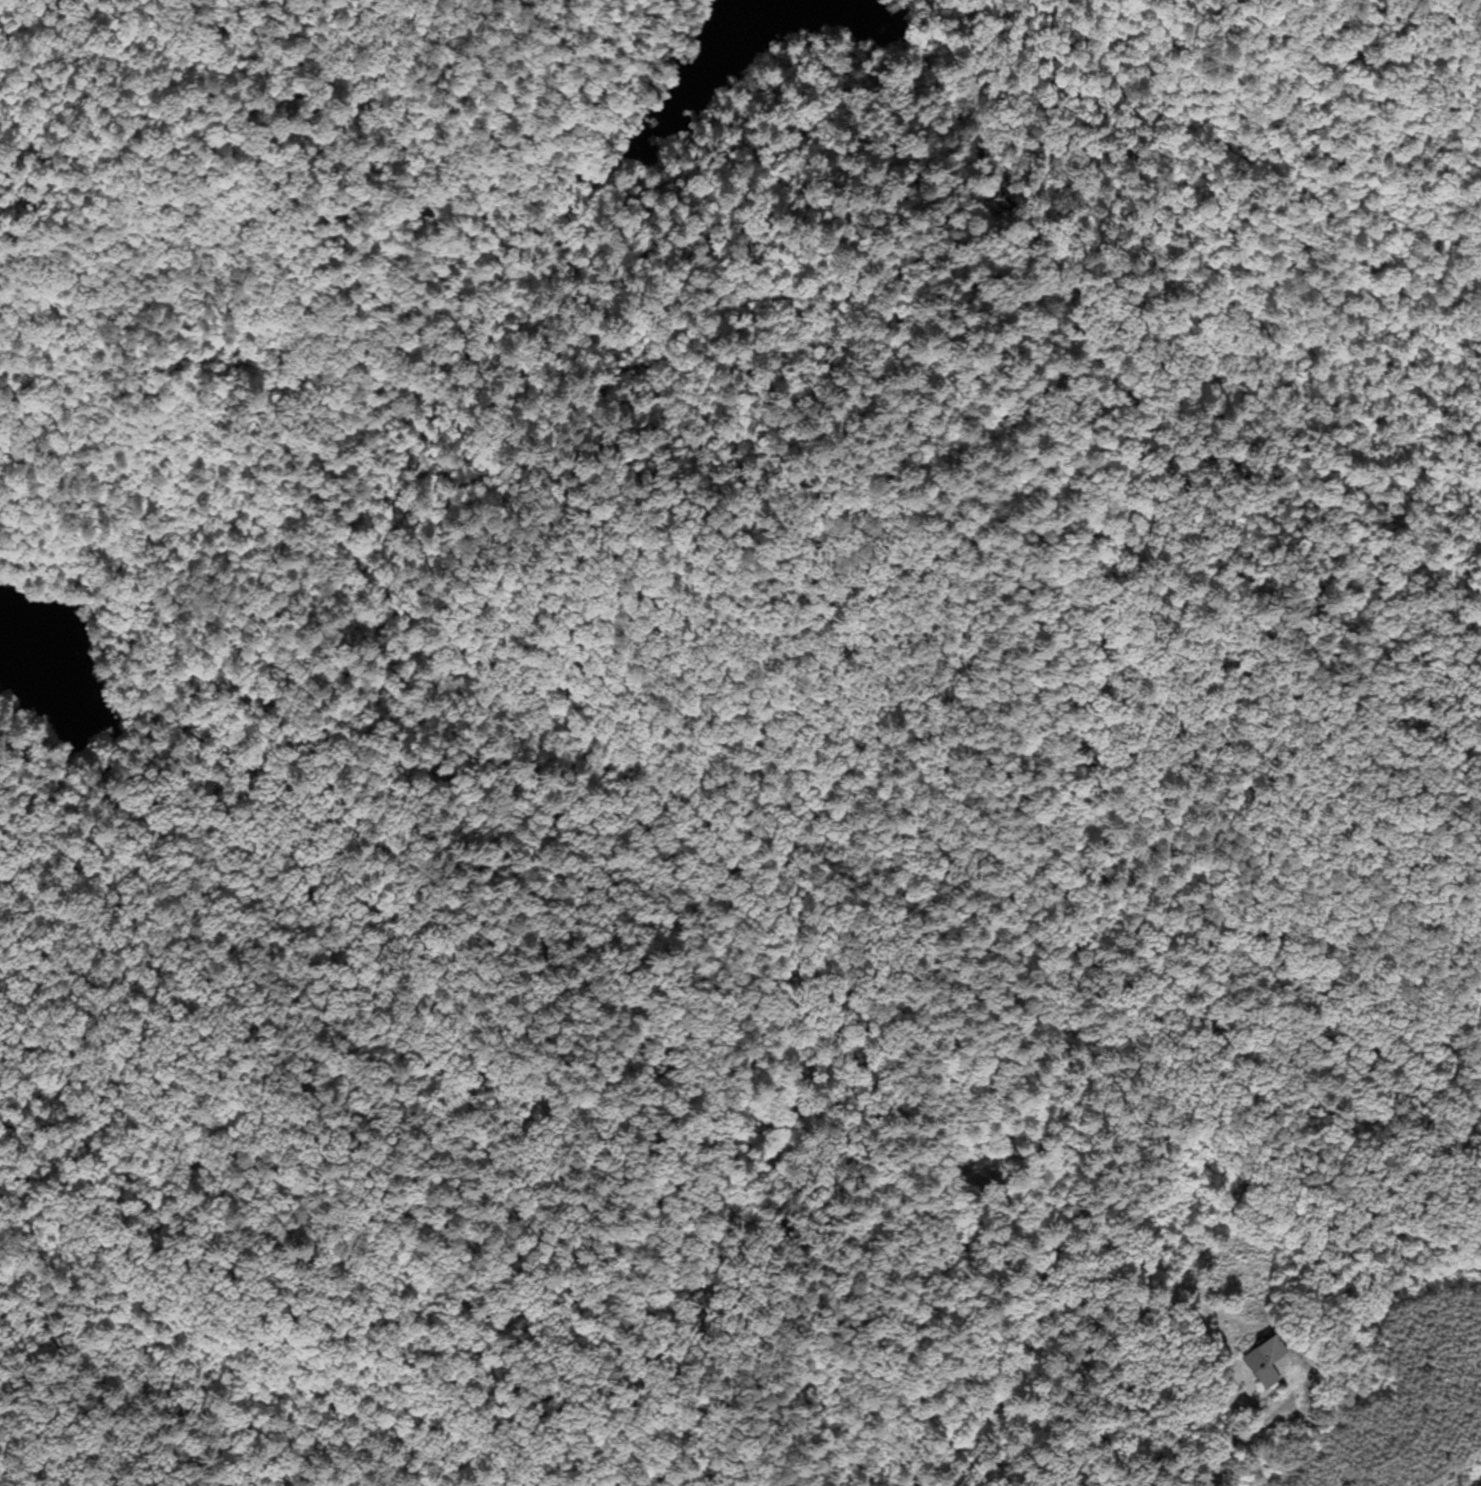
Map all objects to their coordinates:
road: (1412, 1258)
building: (1266, 1362)
road: (1221, 1434)

